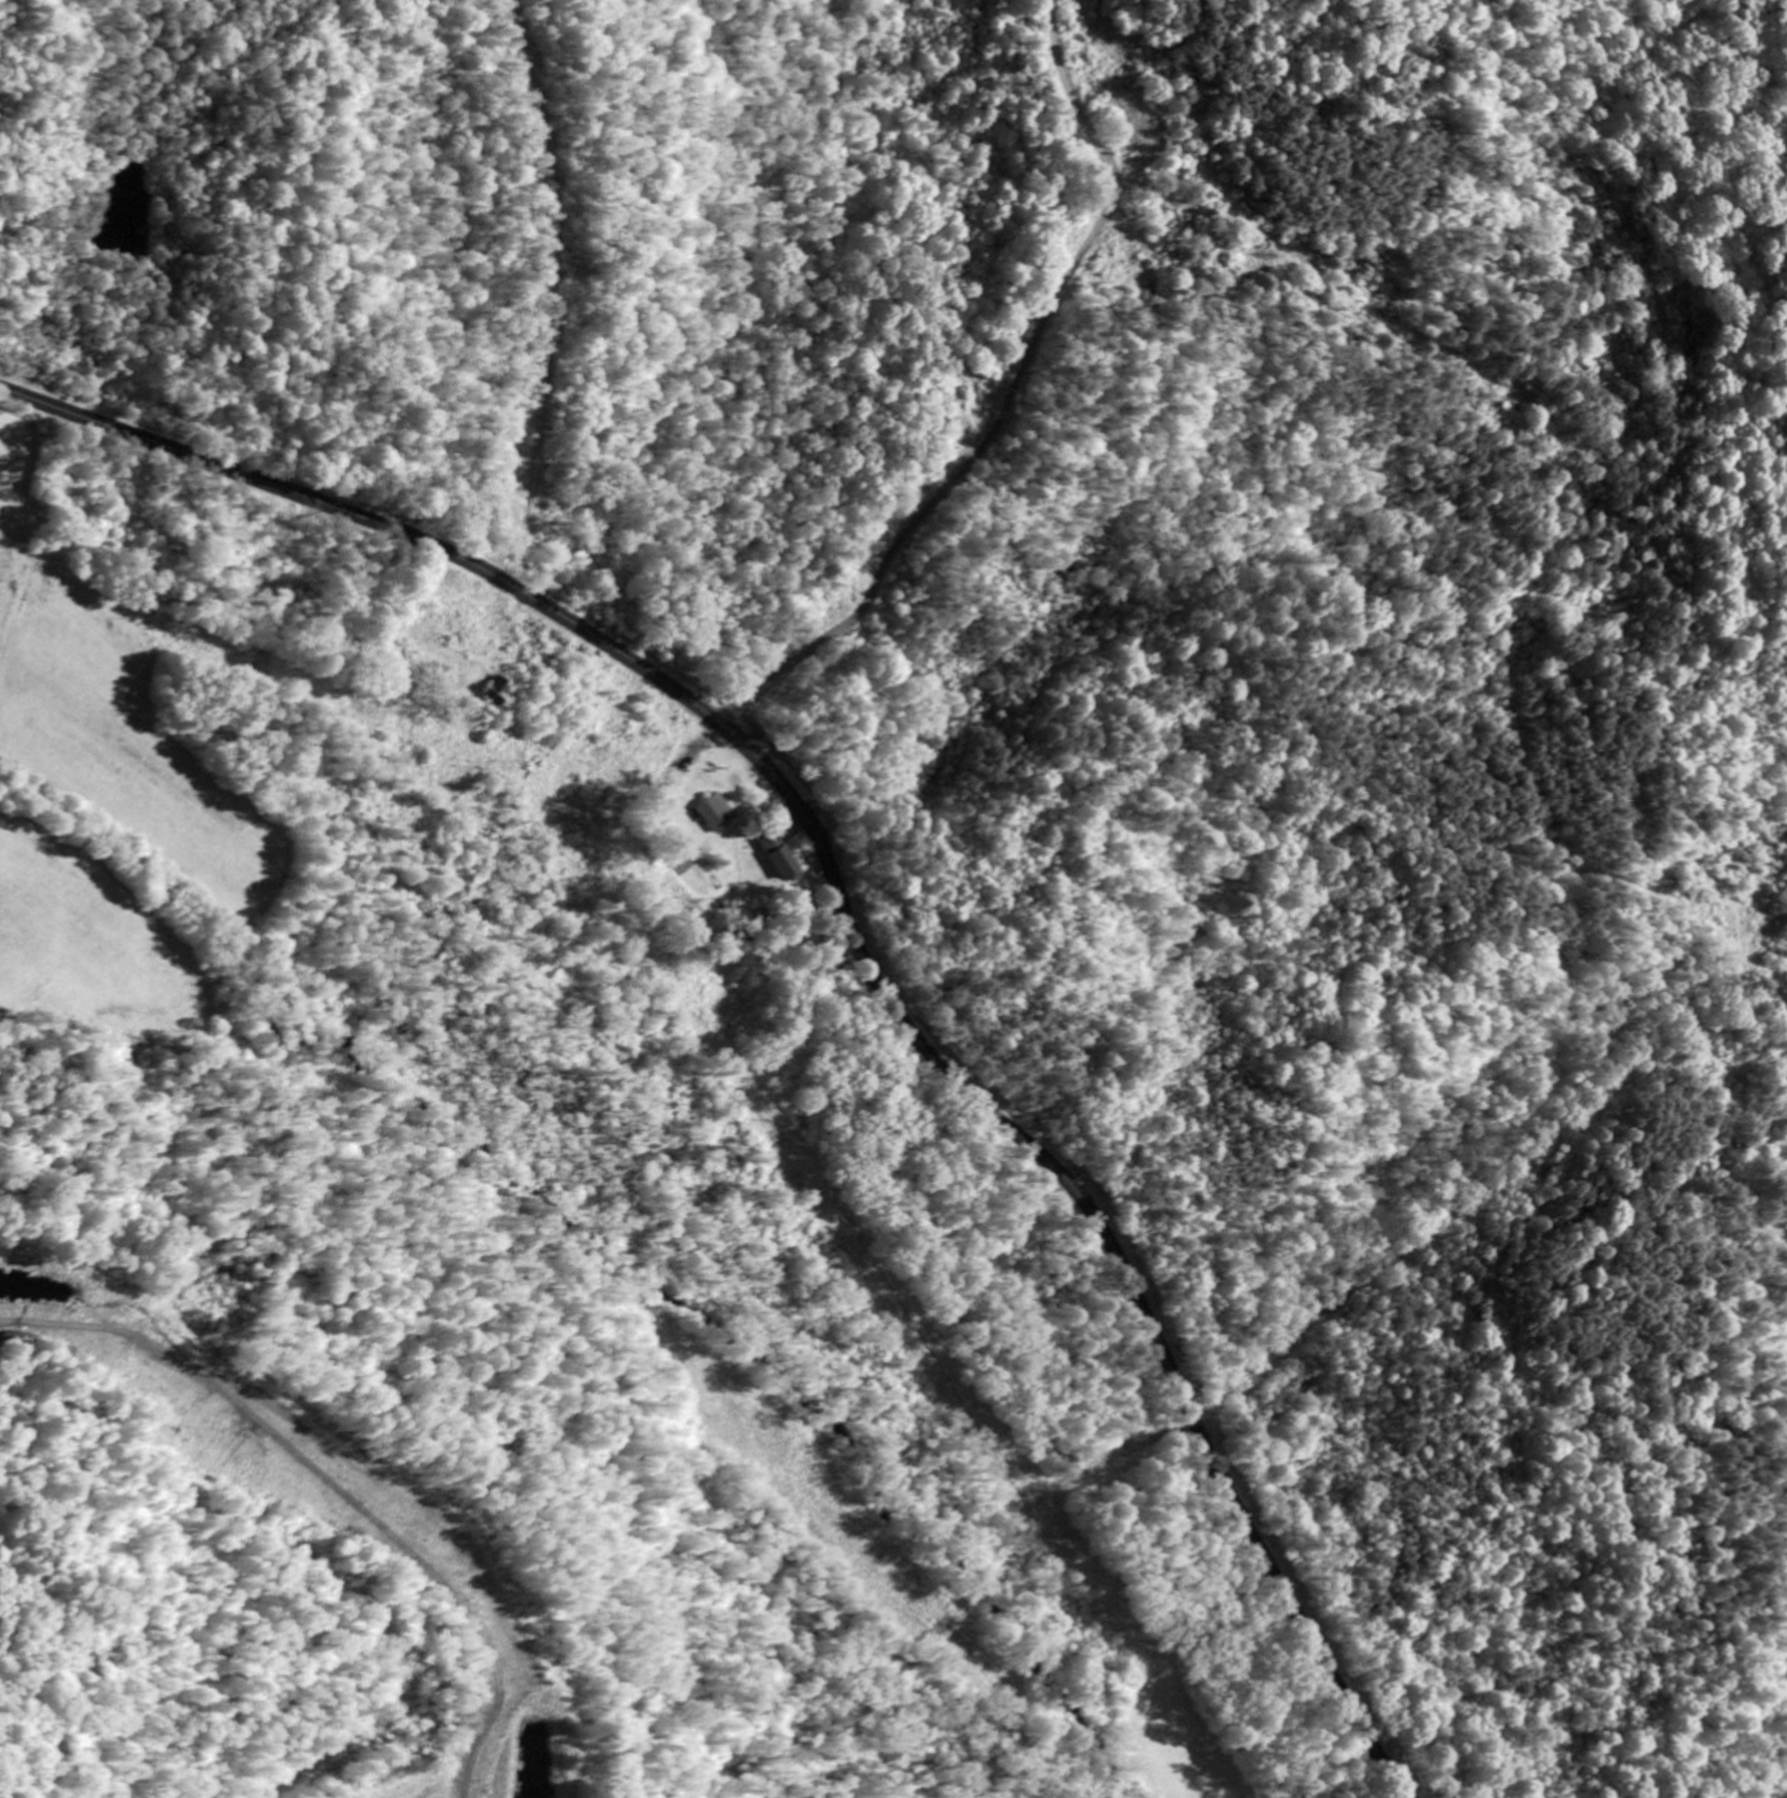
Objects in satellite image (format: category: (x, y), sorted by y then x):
building: (716, 812)
building: (781, 855)
road: (842, 926)

